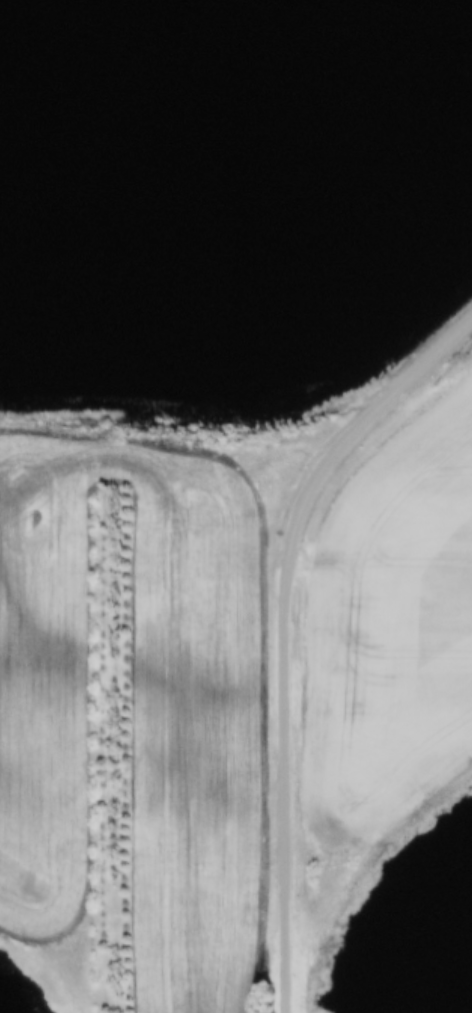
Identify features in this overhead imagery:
road: (284, 629)

